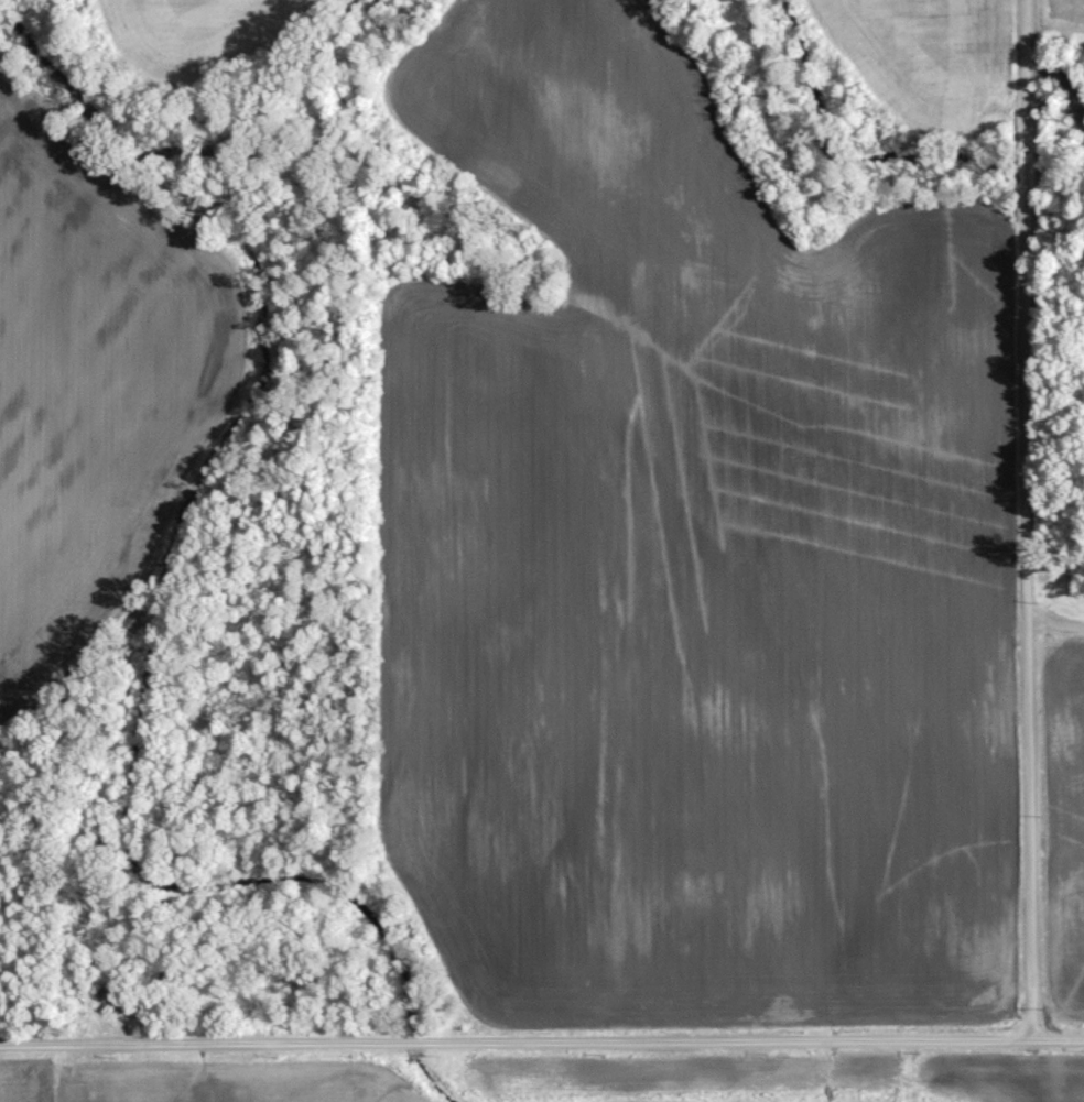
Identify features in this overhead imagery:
road: (1025, 516)
road: (1054, 621)
road: (541, 1030)

